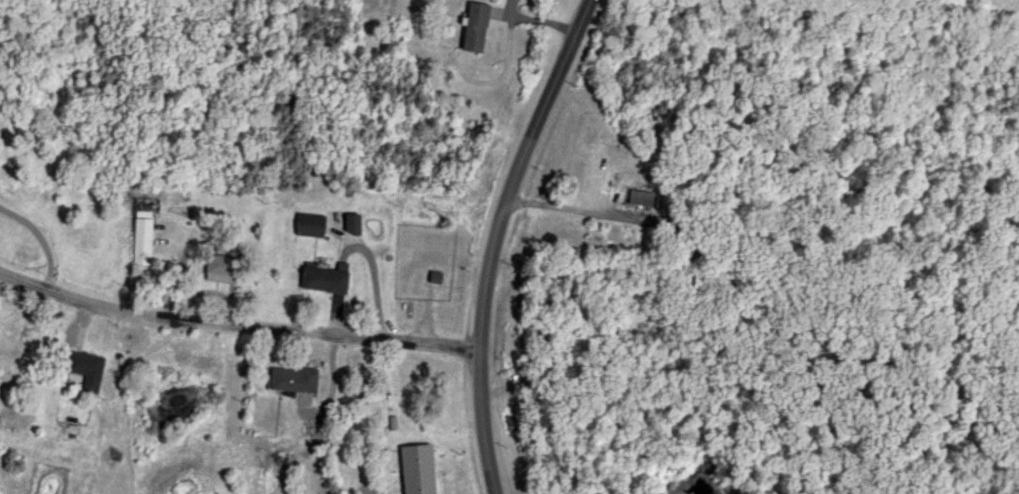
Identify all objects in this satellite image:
building: (469, 27)
building: (636, 199)
road: (579, 207)
building: (347, 224)
building: (305, 225)
building: (138, 237)
road: (38, 239)
road: (496, 239)
building: (213, 268)
building: (320, 279)
road: (758, 307)
road: (235, 330)
building: (80, 365)
building: (286, 380)
building: (396, 426)

